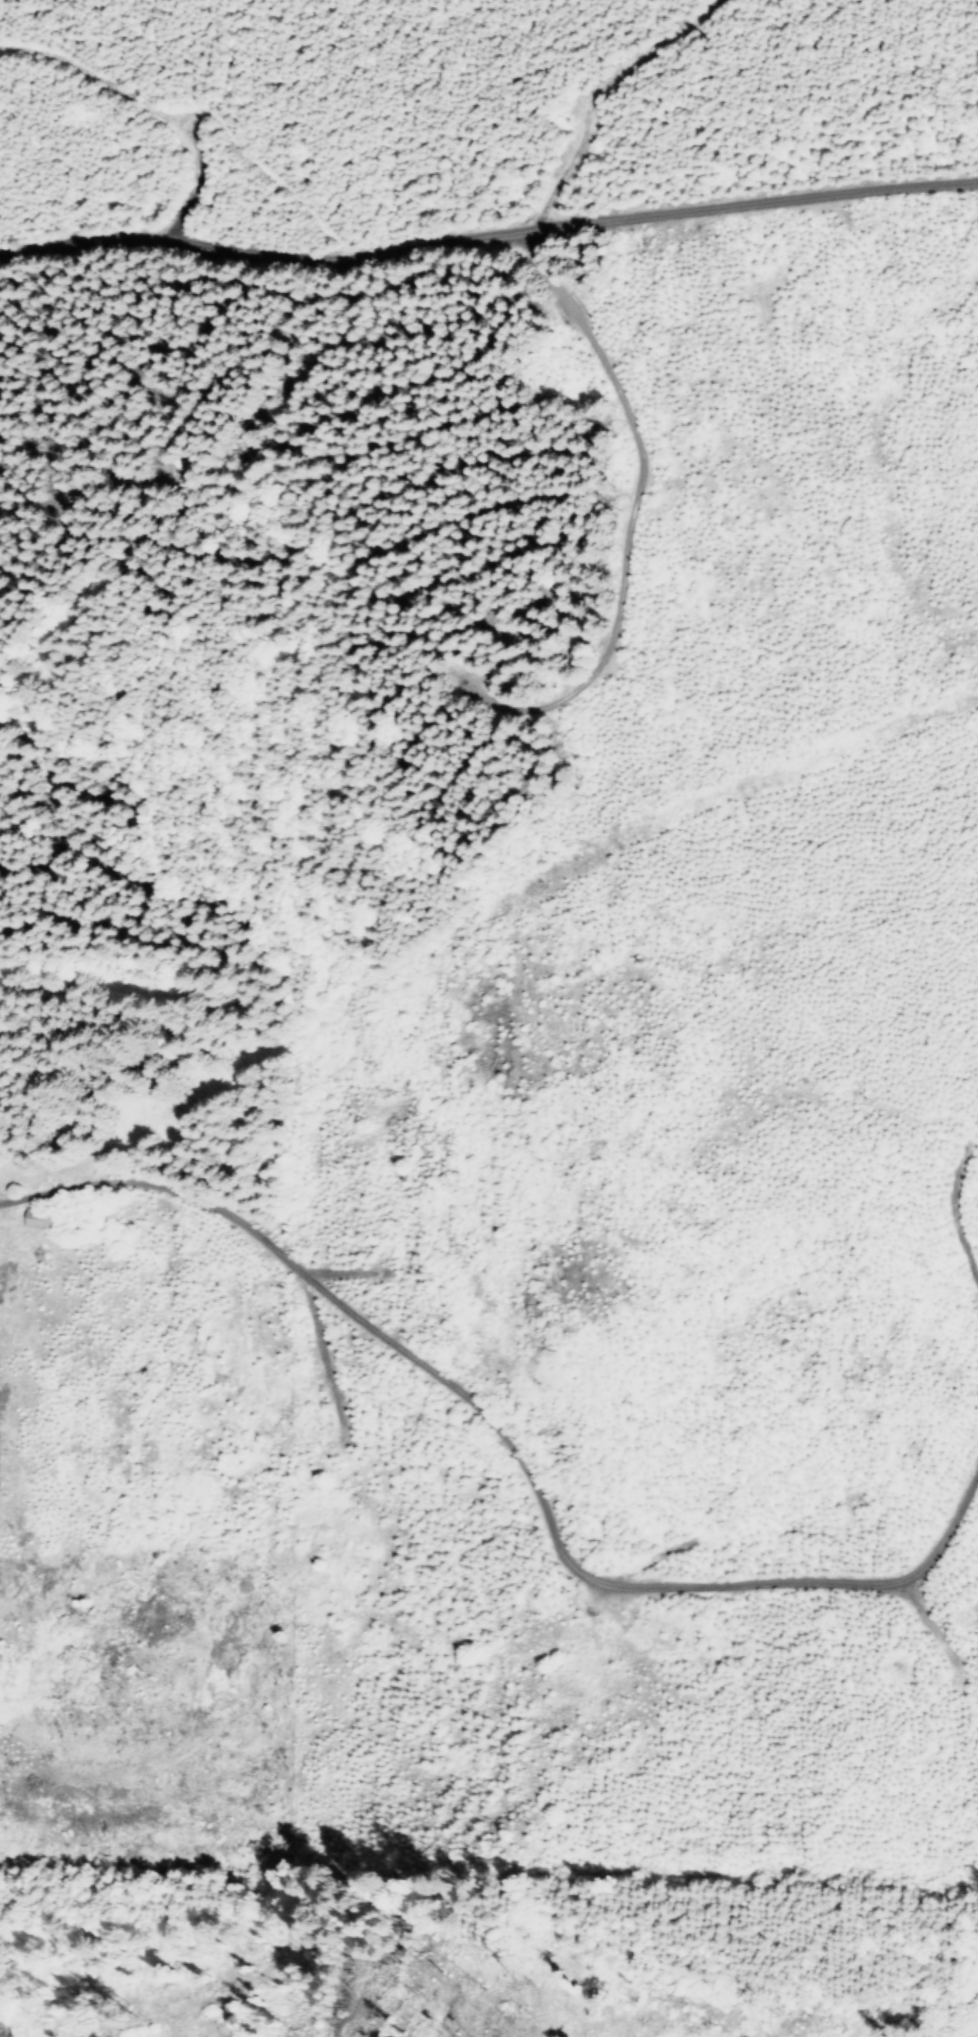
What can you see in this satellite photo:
road: (486, 247)
road: (106, 810)
road: (512, 1544)

